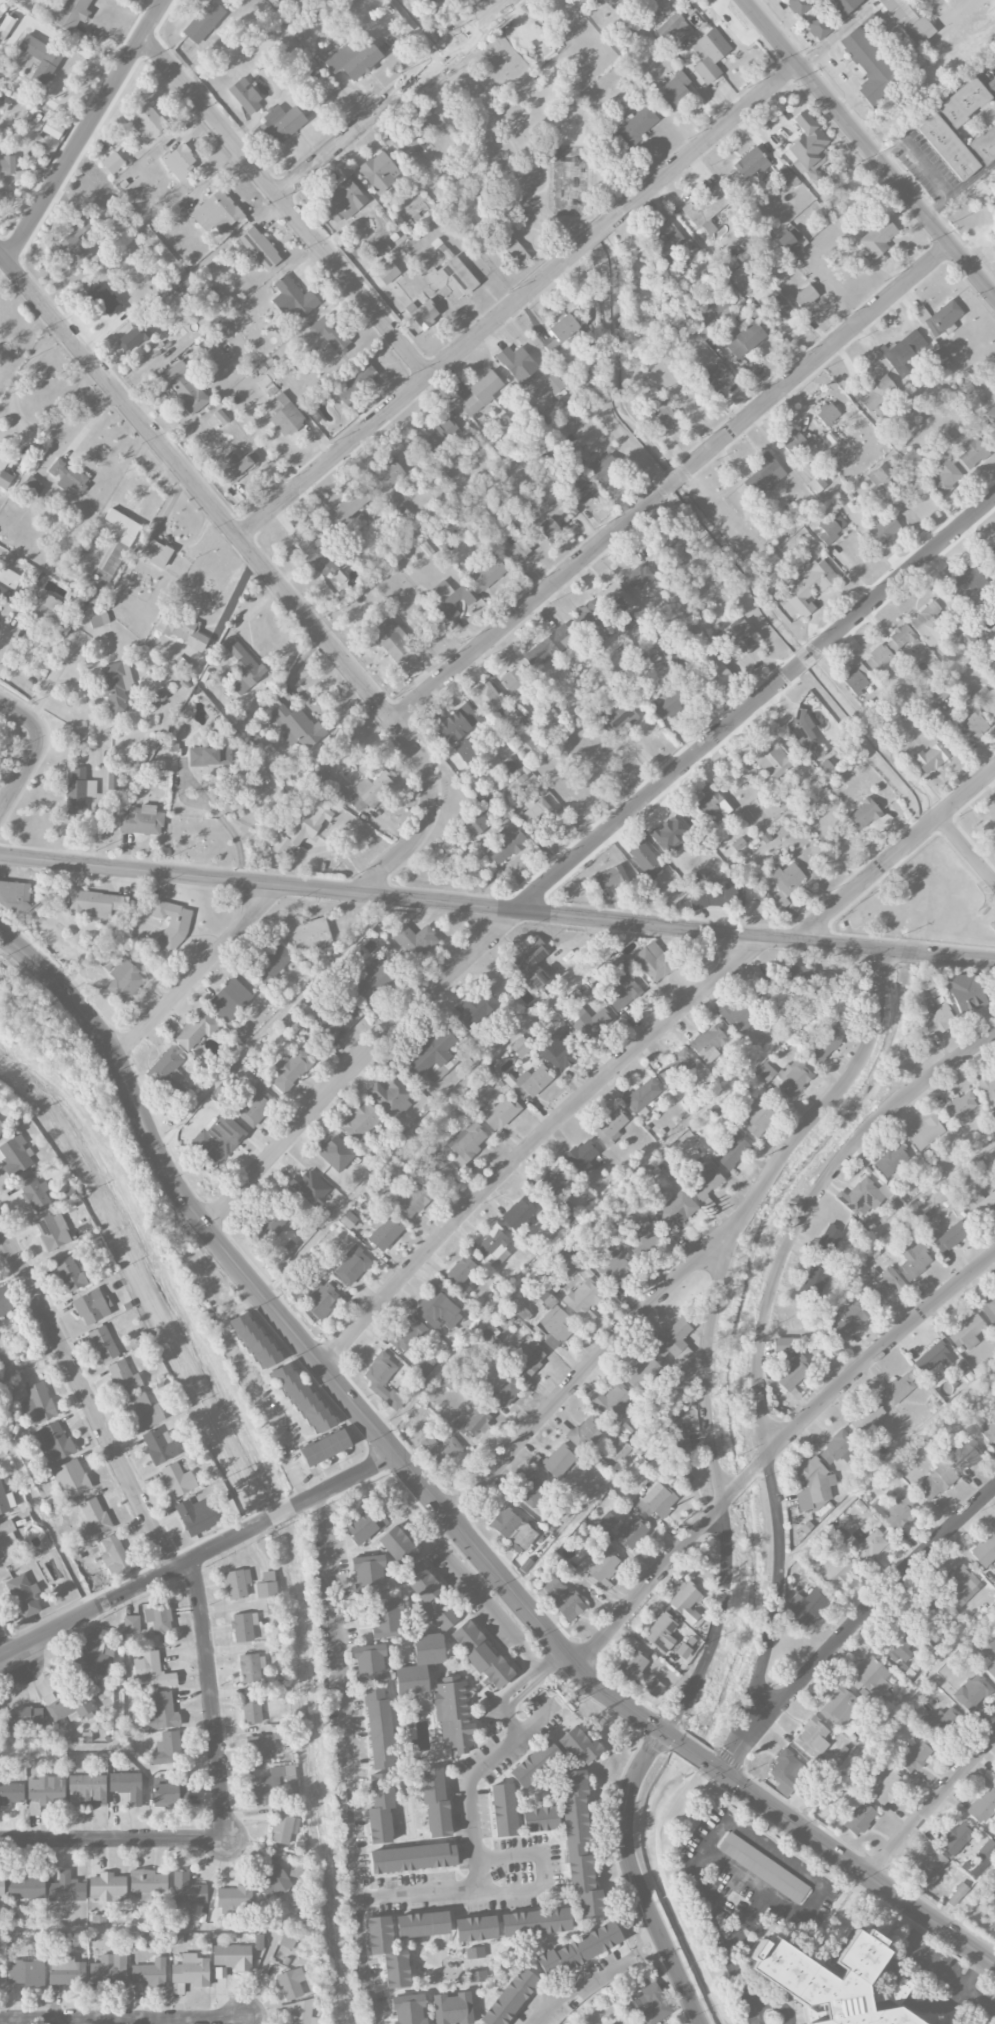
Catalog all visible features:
building: (430, 1)
building: (798, 6)
building: (840, 6)
building: (72, 13)
building: (908, 19)
building: (203, 21)
building: (5, 26)
building: (818, 27)
building: (674, 29)
road: (58, 39)
building: (709, 54)
building: (41, 58)
building: (353, 60)
building: (869, 65)
building: (991, 85)
building: (676, 92)
building: (245, 96)
road: (946, 96)
road: (393, 97)
building: (963, 102)
building: (146, 121)
building: (280, 124)
building: (637, 125)
building: (52, 129)
road: (85, 130)
park: (531, 132)
building: (412, 134)
building: (807, 141)
building: (985, 144)
building: (948, 147)
road: (868, 148)
building: (179, 160)
building: (112, 162)
building: (750, 163)
building: (7, 165)
road: (926, 167)
building: (379, 171)
building: (783, 173)
building: (814, 175)
road: (972, 177)
building: (343, 202)
road: (285, 206)
building: (707, 206)
building: (216, 213)
building: (708, 227)
building: (878, 238)
building: (791, 241)
building: (75, 243)
building: (665, 243)
building: (508, 247)
building: (259, 248)
building: (382, 248)
road: (3, 266)
building: (730, 267)
building: (387, 273)
building: (452, 278)
building: (742, 281)
road: (819, 288)
building: (805, 296)
building: (292, 298)
building: (104, 300)
road: (517, 301)
building: (773, 303)
building: (711, 310)
building: (422, 313)
building: (938, 317)
building: (331, 334)
building: (133, 337)
building: (744, 338)
building: (562, 343)
building: (903, 352)
building: (517, 364)
building: (592, 364)
road: (19, 374)
building: (717, 377)
building: (553, 383)
building: (357, 384)
building: (185, 386)
building: (481, 392)
building: (877, 393)
building: (826, 413)
building: (990, 415)
building: (286, 416)
building: (221, 417)
building: (434, 438)
building: (794, 443)
building: (971, 452)
building: (912, 459)
building: (239, 465)
building: (604, 468)
building: (943, 473)
building: (385, 475)
building: (763, 475)
building: (879, 475)
building: (68, 476)
building: (4, 479)
road: (671, 482)
building: (817, 483)
building: (31, 486)
building: (582, 491)
building: (349, 505)
building: (555, 517)
building: (459, 518)
building: (831, 527)
building: (884, 529)
building: (664, 539)
building: (115, 548)
building: (516, 552)
building: (154, 553)
building: (314, 553)
building: (991, 554)
road: (267, 571)
building: (486, 571)
building: (339, 577)
building: (637, 577)
building: (10, 585)
building: (967, 585)
building: (799, 589)
building: (613, 598)
building: (449, 599)
building: (52, 614)
building: (587, 617)
building: (98, 619)
building: (628, 620)
building: (929, 625)
building: (181, 630)
building: (736, 637)
building: (899, 638)
building: (391, 640)
building: (549, 646)
building: (606, 646)
building: (881, 662)
building: (242, 668)
building: (717, 675)
building: (856, 677)
building: (513, 680)
building: (115, 684)
building: (937, 693)
building: (485, 698)
building: (669, 699)
building: (986, 700)
building: (619, 716)
building: (973, 721)
building: (239, 723)
building: (456, 724)
building: (297, 727)
building: (802, 729)
building: (525, 740)
road: (35, 750)
building: (465, 750)
building: (209, 756)
building: (930, 758)
building: (773, 761)
building: (511, 764)
building: (825, 766)
building: (113, 779)
building: (370, 790)
building: (77, 792)
building: (336, 796)
building: (506, 799)
road: (212, 804)
building: (711, 804)
building: (539, 813)
building: (863, 814)
building: (141, 820)
building: (476, 825)
building: (682, 826)
building: (303, 827)
building: (990, 827)
building: (738, 844)
building: (505, 845)
road: (968, 846)
road: (586, 848)
road: (895, 854)
building: (645, 859)
building: (609, 877)
building: (784, 881)
building: (720, 894)
building: (14, 896)
park: (919, 902)
building: (95, 904)
road: (497, 909)
building: (171, 925)
building: (311, 936)
building: (415, 939)
building: (529, 956)
building: (654, 962)
building: (270, 963)
building: (619, 964)
road: (196, 975)
building: (798, 975)
building: (537, 979)
building: (123, 980)
building: (370, 980)
building: (767, 990)
building: (620, 992)
building: (964, 992)
building: (229, 1000)
building: (477, 1008)
building: (740, 1017)
building: (935, 1019)
building: (588, 1020)
building: (286, 1022)
building: (339, 1022)
building: (195, 1031)
building: (301, 1034)
building: (826, 1042)
building: (708, 1043)
building: (520, 1047)
building: (554, 1047)
building: (432, 1051)
building: (675, 1067)
building: (166, 1068)
building: (290, 1069)
building: (764, 1072)
building: (794, 1077)
road: (925, 1081)
building: (529, 1082)
building: (989, 1086)
building: (390, 1096)
building: (642, 1096)
building: (255, 1105)
building: (960, 1108)
building: (502, 1113)
building: (758, 1117)
building: (360, 1121)
building: (610, 1127)
building: (2, 1128)
building: (926, 1133)
building: (218, 1138)
building: (466, 1143)
road: (533, 1144)
building: (731, 1151)
building: (335, 1153)
building: (15, 1156)
building: (580, 1157)
building: (892, 1162)
building: (705, 1181)
building: (553, 1182)
building: (309, 1187)
building: (379, 1187)
building: (35, 1194)
building: (868, 1196)
building: (411, 1199)
building: (983, 1203)
building: (676, 1208)
building: (566, 1212)
building: (519, 1215)
building: (348, 1219)
building: (272, 1222)
building: (53, 1230)
building: (384, 1233)
building: (640, 1236)
building: (950, 1237)
road: (4, 1242)
building: (826, 1242)
building: (492, 1247)
building: (562, 1257)
building: (914, 1259)
building: (616, 1265)
building: (352, 1266)
building: (69, 1274)
building: (459, 1276)
building: (812, 1284)
building: (885, 1284)
building: (319, 1298)
road: (136, 1299)
building: (584, 1300)
building: (4, 1302)
building: (91, 1306)
building: (519, 1309)
building: (989, 1309)
building: (438, 1310)
building: (848, 1321)
building: (553, 1327)
building: (967, 1332)
building: (406, 1334)
building: (673, 1340)
building: (103, 1343)
building: (783, 1345)
building: (528, 1355)
building: (931, 1359)
road: (31, 1363)
building: (420, 1366)
road: (584, 1370)
building: (640, 1371)
building: (793, 1372)
building: (123, 1377)
building: (382, 1379)
road: (254, 1389)
building: (898, 1389)
building: (506, 1392)
road: (86, 1396)
building: (302, 1398)
building: (613, 1401)
building: (37, 1403)
building: (143, 1412)
building: (866, 1417)
building: (473, 1423)
road: (763, 1424)
building: (989, 1431)
building: (585, 1432)
building: (53, 1443)
building: (158, 1445)
building: (325, 1447)
building: (441, 1449)
road: (773, 1449)
building: (837, 1449)
building: (617, 1450)
building: (965, 1454)
building: (679, 1458)
building: (558, 1461)
building: (71, 1478)
building: (177, 1480)
building: (935, 1481)
road: (717, 1482)
building: (813, 1485)
building: (531, 1491)
road: (37, 1498)
building: (656, 1500)
building: (6, 1501)
road: (439, 1505)
road: (322, 1506)
building: (894, 1511)
building: (195, 1516)
building: (93, 1518)
building: (546, 1523)
building: (365, 1524)
building: (510, 1525)
building: (622, 1529)
building: (7, 1544)
building: (868, 1545)
building: (398, 1546)
building: (984, 1551)
building: (114, 1555)
road: (199, 1557)
building: (602, 1565)
building: (836, 1571)
building: (369, 1574)
building: (267, 1576)
building: (237, 1583)
building: (960, 1584)
building: (993, 1584)
building: (265, 1589)
road: (479, 1592)
building: (24, 1594)
building: (431, 1597)
building: (562, 1598)
building: (686, 1603)
building: (804, 1607)
building: (158, 1616)
building: (387, 1618)
building: (131, 1624)
building: (243, 1626)
road: (852, 1626)
building: (661, 1633)
road: (4, 1645)
building: (898, 1649)
building: (988, 1653)
building: (480, 1654)
building: (93, 1655)
building: (369, 1664)
building: (419, 1665)
building: (632, 1665)
building: (251, 1668)
building: (151, 1671)
building: (871, 1677)
road: (524, 1682)
building: (655, 1688)
building: (970, 1691)
road: (212, 1700)
road: (344, 1705)
building: (67, 1706)
building: (839, 1706)
building: (251, 1709)
building: (160, 1711)
building: (453, 1714)
building: (23, 1718)
building: (938, 1722)
road: (117, 1728)
building: (379, 1729)
traffic signals: (663, 1733)
building: (812, 1739)
building: (578, 1745)
road: (59, 1746)
building: (167, 1748)
building: (259, 1749)
building: (915, 1757)
building: (534, 1763)
building: (787, 1772)
traffic signals: (720, 1773)
building: (270, 1783)
building: (126, 1786)
building: (886, 1787)
building: (46, 1790)
building: (87, 1790)
building: (11, 1793)
building: (170, 1795)
building: (434, 1801)
building: (982, 1805)
road: (931, 1806)
building: (380, 1808)
building: (503, 1810)
building: (859, 1817)
building: (539, 1819)
building: (283, 1828)
road: (114, 1839)
building: (955, 1839)
building: (578, 1843)
building: (985, 1852)
road: (476, 1856)
building: (412, 1858)
road: (543, 1866)
building: (763, 1868)
building: (928, 1869)
building: (274, 1878)
building: (147, 1881)
building: (24, 1885)
building: (1, 1886)
building: (107, 1887)
building: (66, 1888)
building: (187, 1889)
road: (820, 1889)
building: (957, 1894)
building: (235, 1900)
road: (747, 1920)
building: (535, 1922)
building: (422, 1924)
building: (993, 1926)
building: (475, 1928)
road: (183, 1929)
road: (718, 1933)
road: (647, 1945)
building: (578, 1950)
building: (387, 1952)
building: (474, 1952)
road: (923, 1956)
building: (233, 1957)
road: (359, 1960)
building: (109, 1969)
building: (191, 1970)
building: (66, 1971)
building: (27, 1972)
building: (149, 1973)
building: (476, 1976)
building: (829, 1979)
building: (290, 1983)
road: (579, 1983)
road: (964, 1988)
building: (510, 1997)
road: (776, 2002)
building: (650, 2004)
building: (452, 2008)
building: (408, 2009)
building: (296, 2012)
road: (122, 2020)
building: (610, 2021)
road: (245, 2022)

